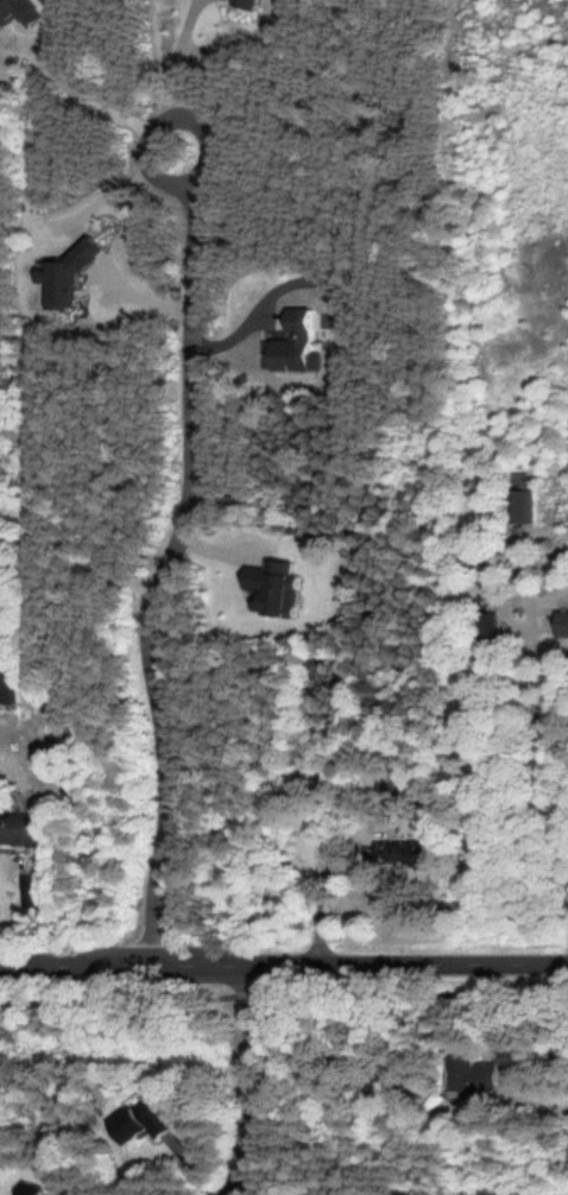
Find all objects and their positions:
building: (242, 4)
building: (17, 12)
road: (172, 48)
road: (81, 93)
building: (64, 274)
road: (258, 311)
building: (291, 344)
building: (518, 506)
road: (152, 555)
building: (269, 587)
building: (484, 624)
building: (560, 624)
building: (6, 684)
road: (542, 716)
building: (15, 829)
building: (398, 853)
road: (283, 972)
road: (282, 992)
building: (468, 1074)
road: (251, 1085)
building: (137, 1121)
building: (26, 1188)

